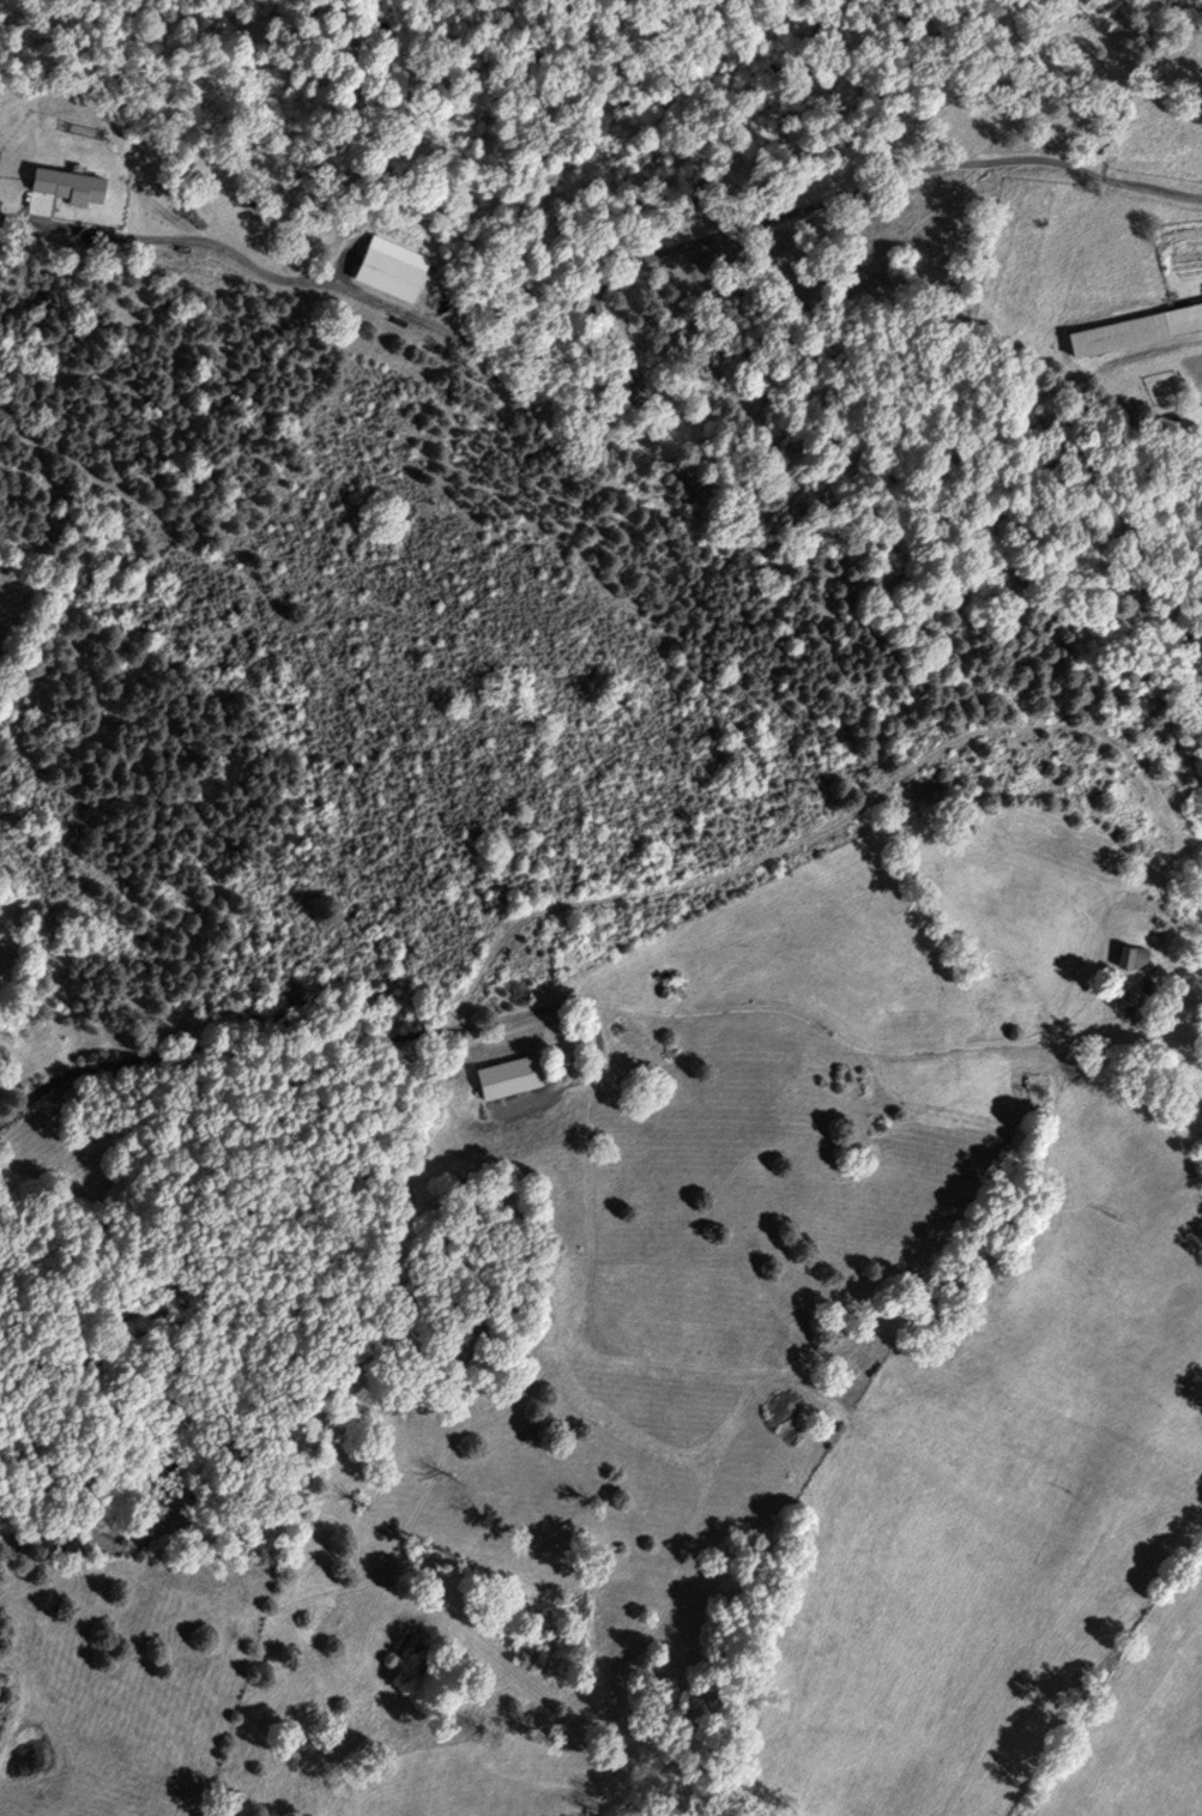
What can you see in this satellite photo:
building: (387, 273)
building: (1134, 327)
road: (1200, 357)
road: (628, 360)
road: (836, 823)
building: (965, 837)
building: (1129, 955)
building: (1149, 987)
road: (823, 1028)
road: (213, 1054)

